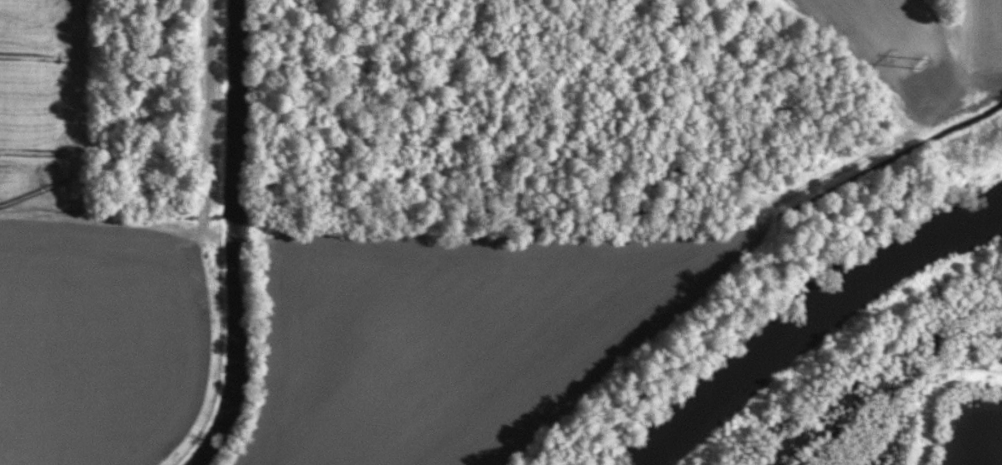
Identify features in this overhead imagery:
road: (961, 44)
power tower: (916, 61)
road: (206, 219)

